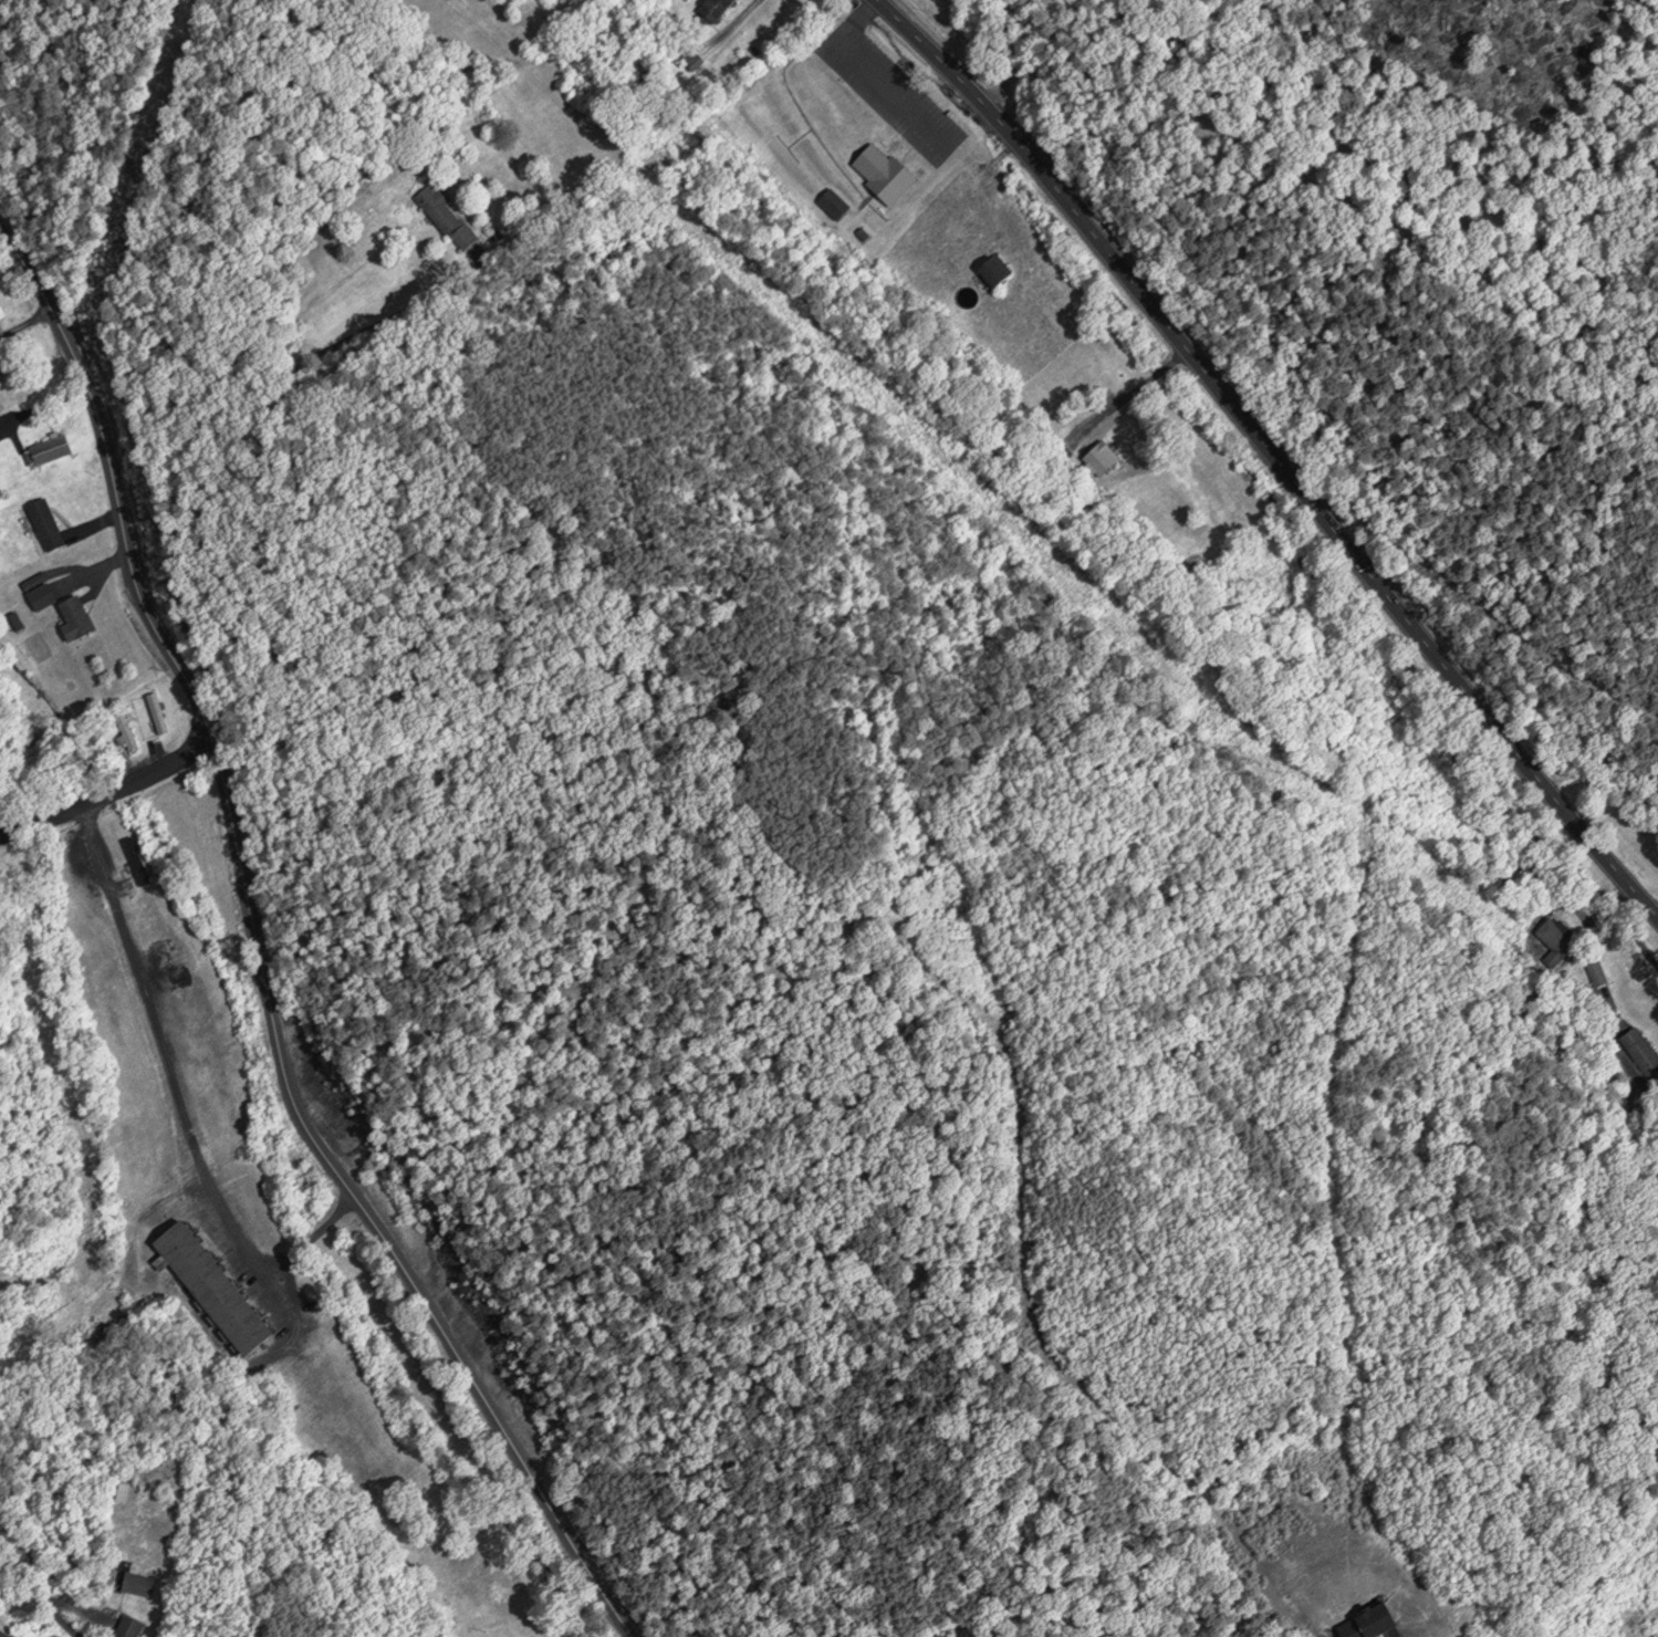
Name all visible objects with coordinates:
building: (717, 8)
building: (883, 170)
building: (446, 215)
building: (998, 270)
building: (2, 312)
road: (205, 428)
building: (49, 449)
road: (1271, 457)
building: (1101, 458)
building: (46, 522)
building: (43, 594)
building: (77, 616)
building: (157, 711)
building: (124, 729)
road: (108, 790)
road: (253, 957)
building: (1640, 1051)
building: (215, 1285)
building: (123, 1491)
building: (140, 1583)
road: (46, 1591)
building: (1375, 1623)
building: (128, 1626)

